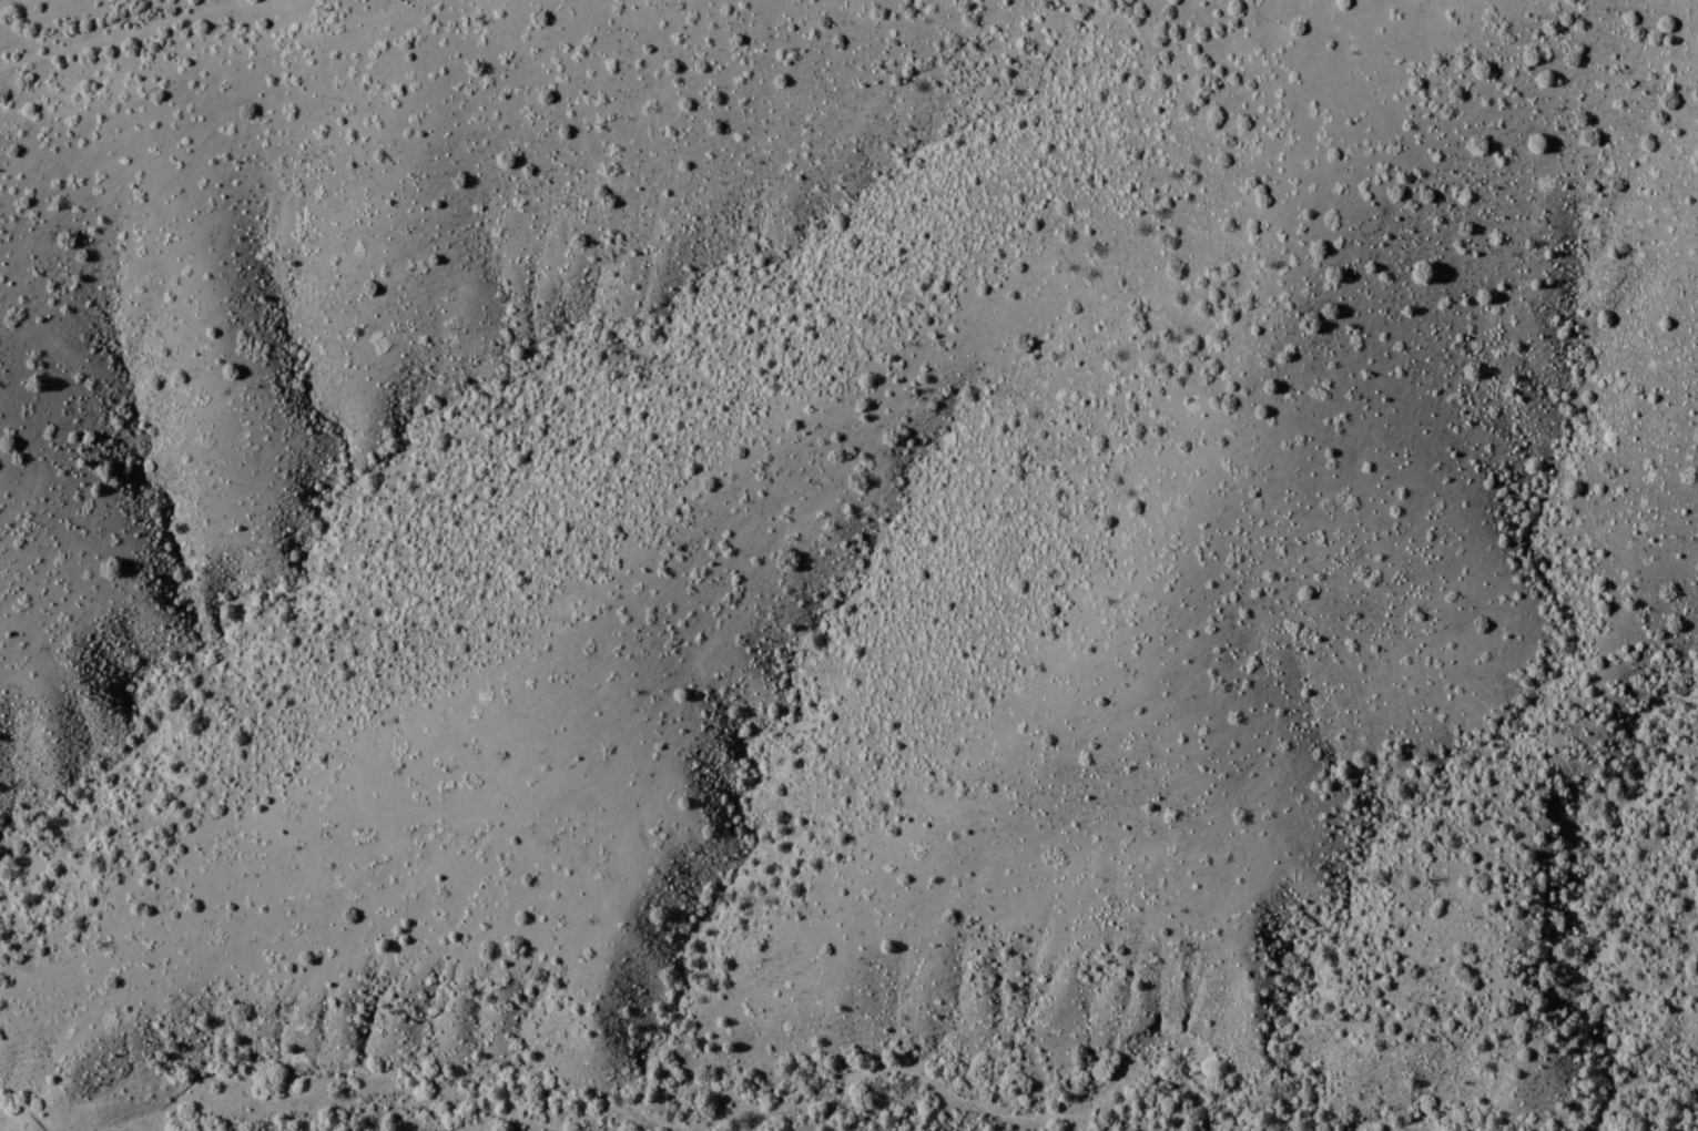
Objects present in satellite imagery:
road: (62, 37)

